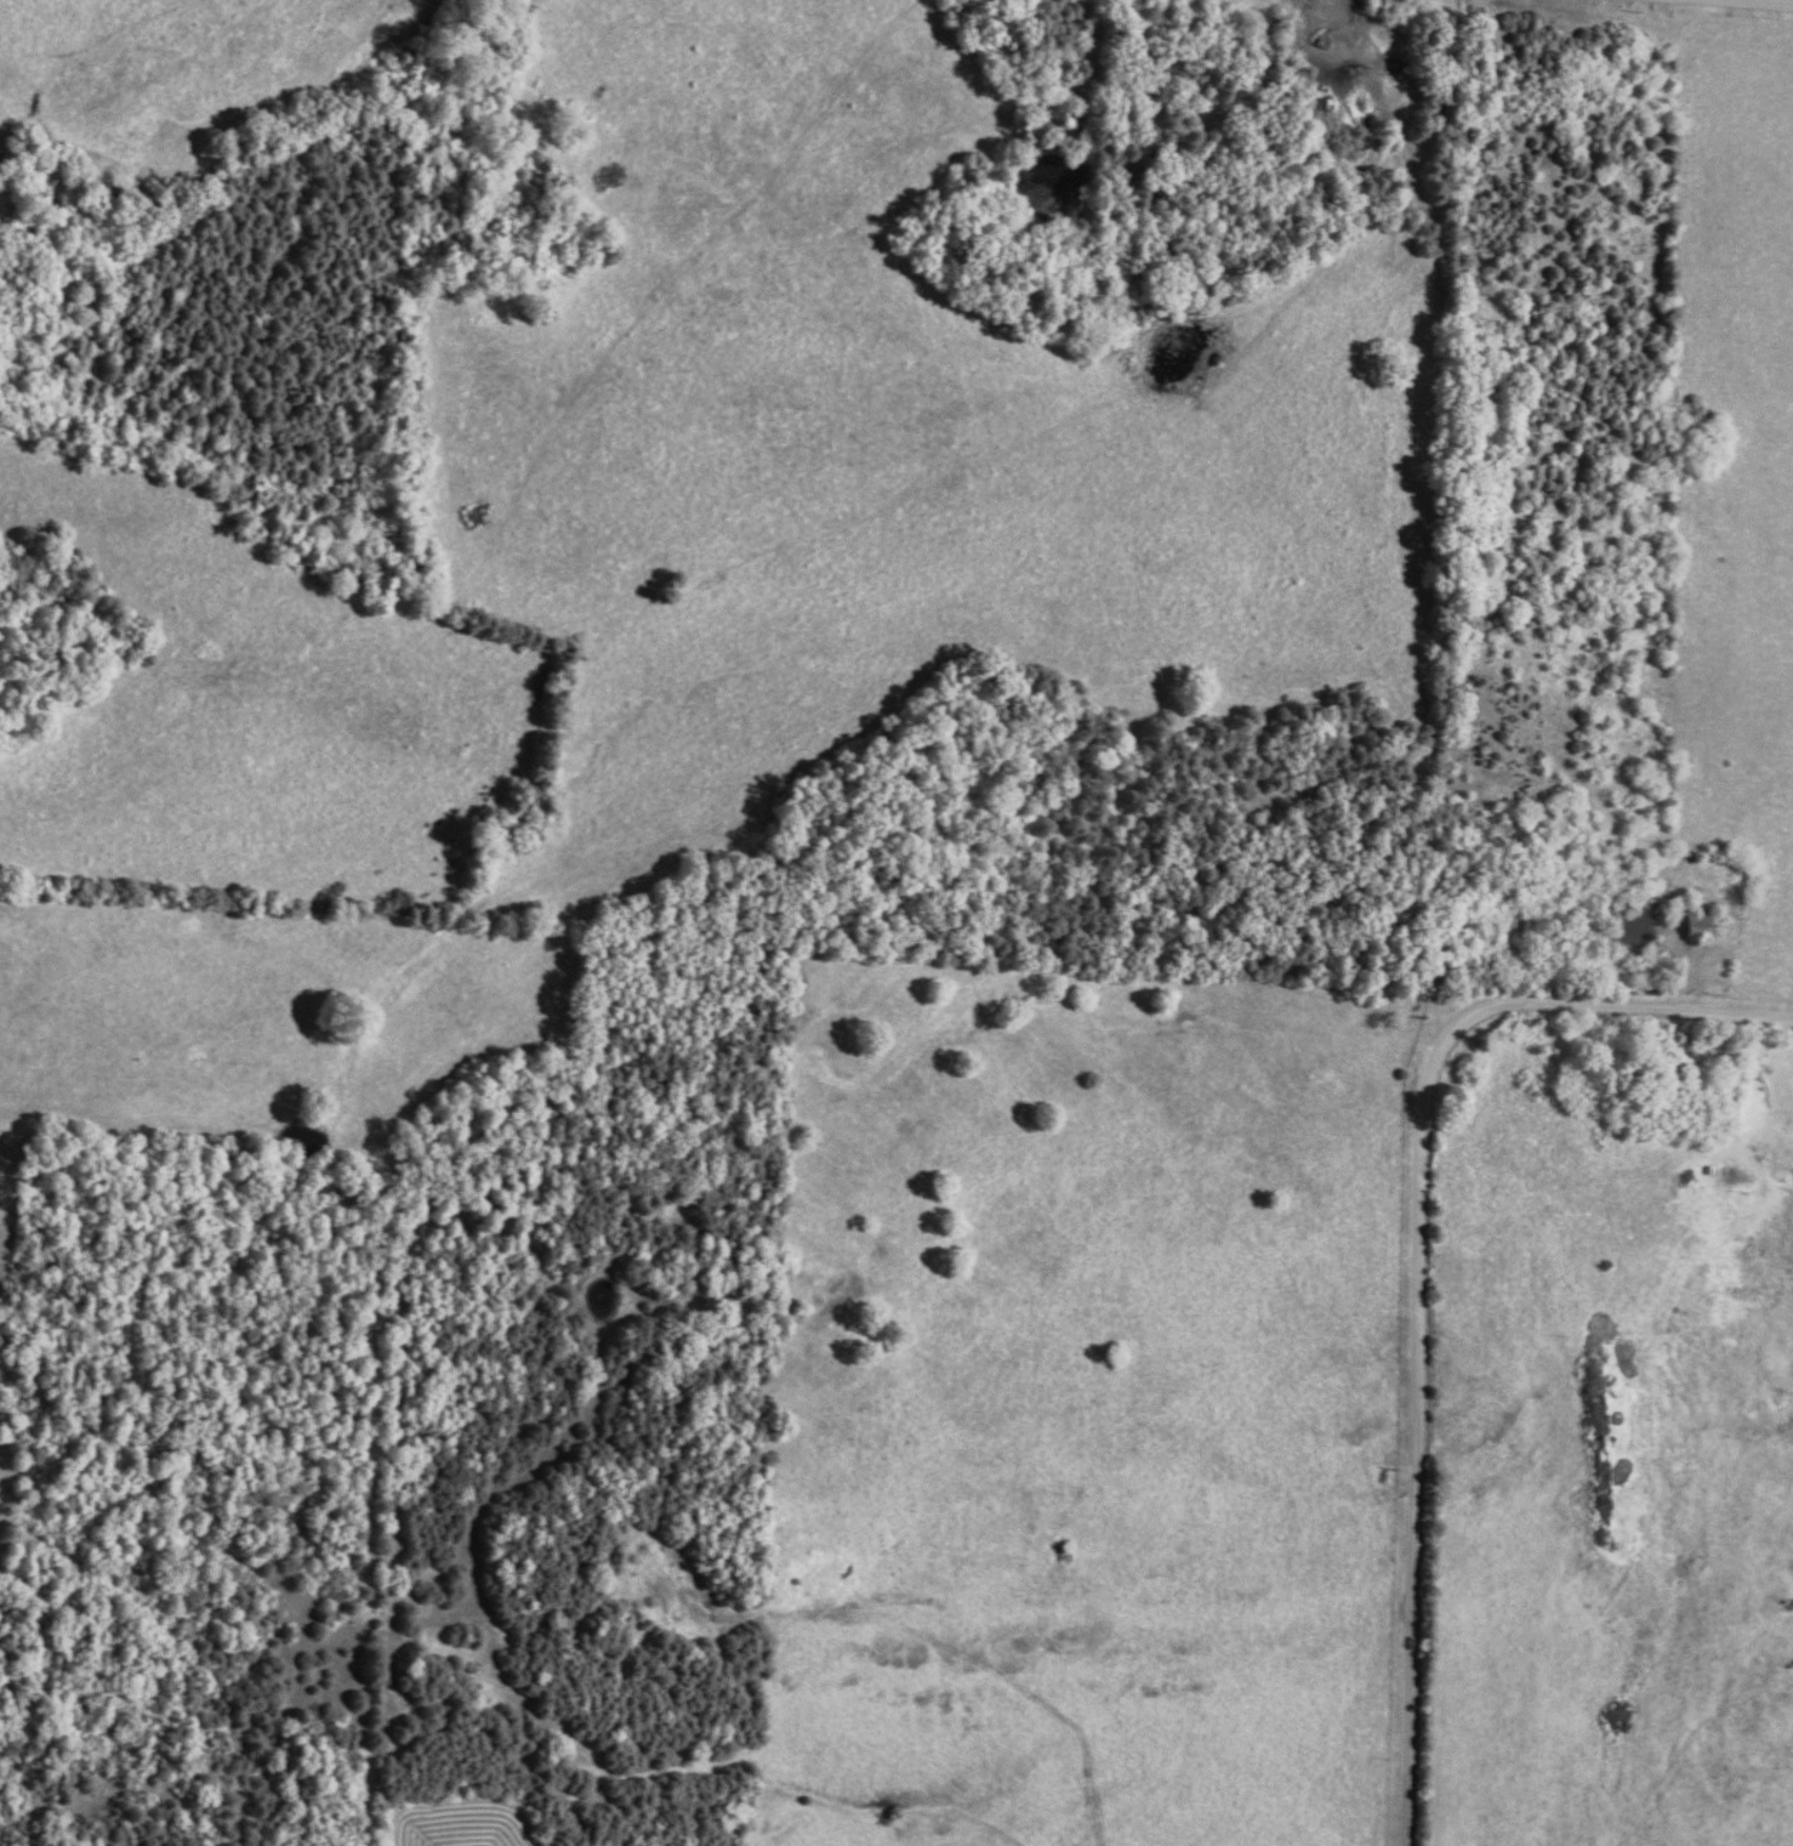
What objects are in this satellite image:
road: (1768, 1)
road: (1415, 1260)

